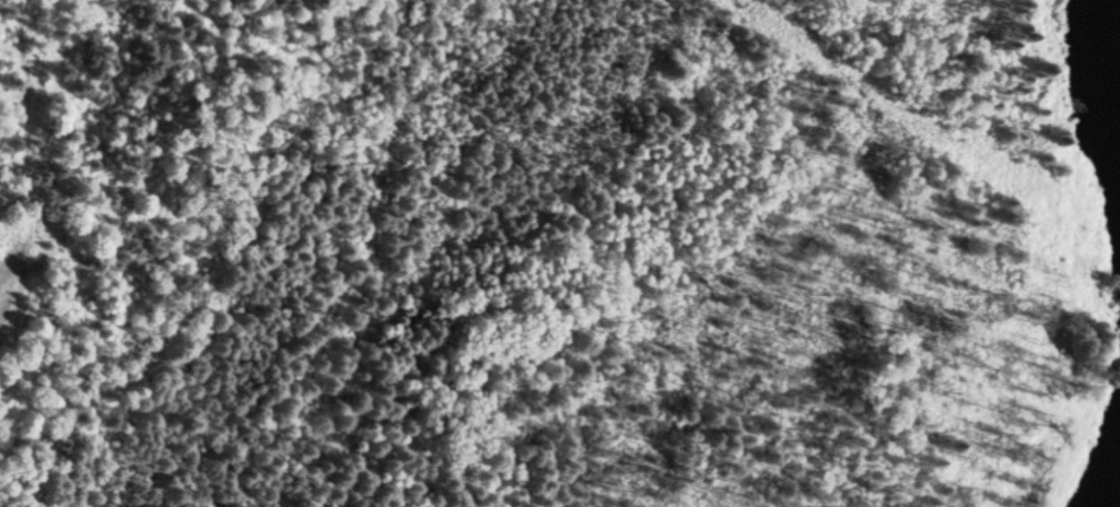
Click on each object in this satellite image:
road: (759, 17)
river: (1117, 503)

